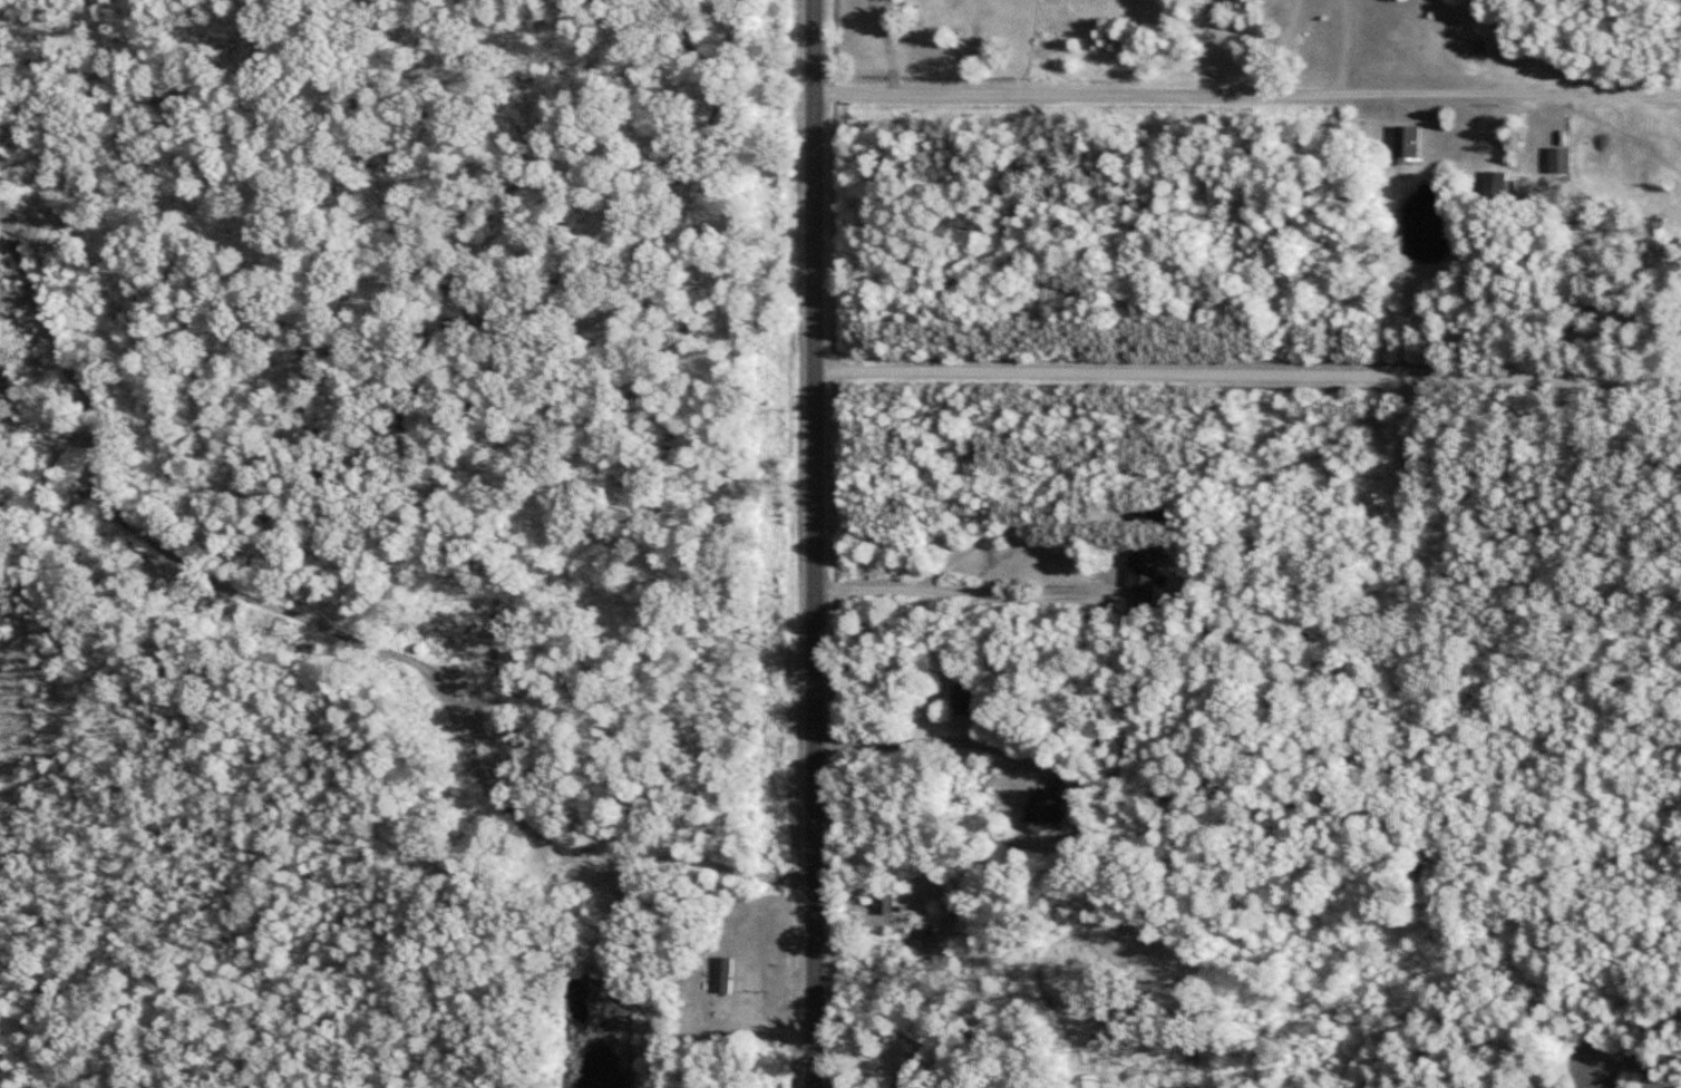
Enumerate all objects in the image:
road: (1262, 46)
road: (1332, 46)
road: (1248, 93)
building: (1407, 142)
building: (1559, 159)
road: (1248, 373)
building: (1157, 515)
road: (815, 543)
building: (1143, 574)
road: (965, 592)
road: (343, 642)
building: (966, 700)
road: (934, 739)
building: (1040, 810)
building: (886, 904)
building: (722, 975)
building: (908, 1074)

